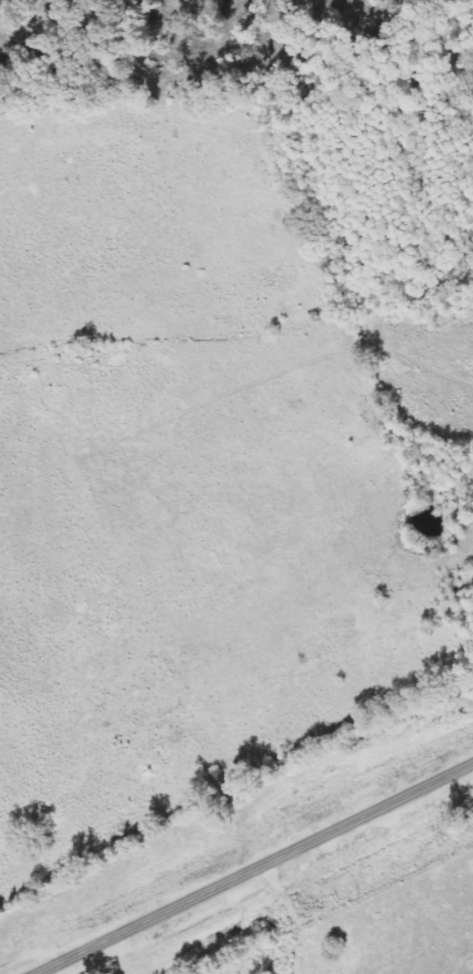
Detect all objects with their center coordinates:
road: (253, 868)

